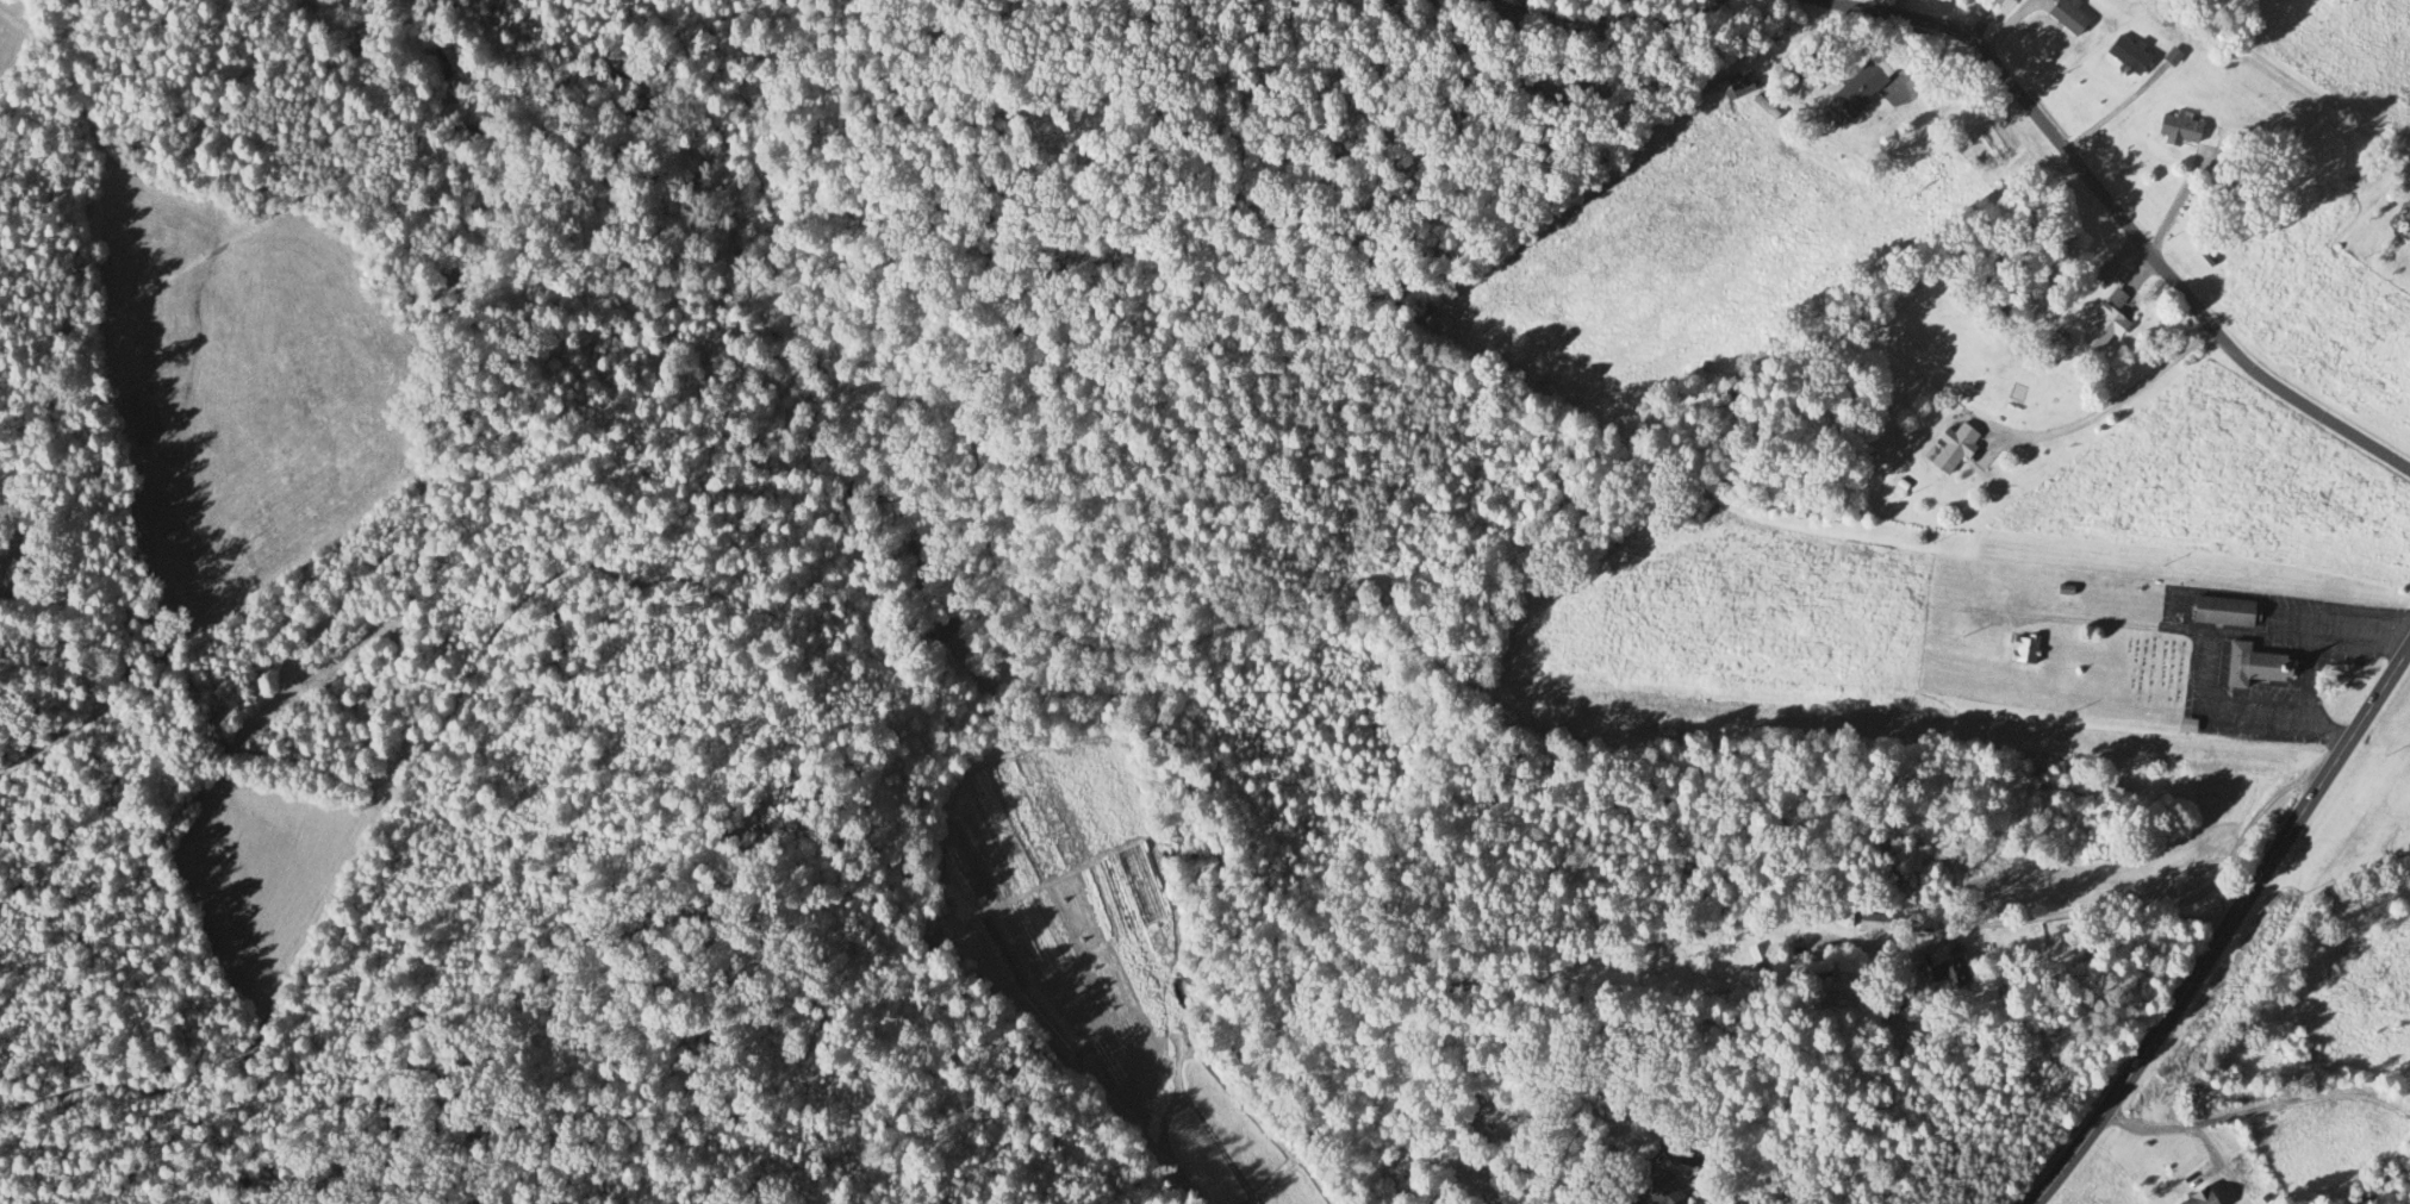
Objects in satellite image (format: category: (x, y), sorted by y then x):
building: (2066, 18)
road: (1617, 19)
building: (2125, 57)
building: (1735, 87)
building: (1857, 89)
building: (2177, 131)
building: (2360, 179)
road: (2181, 198)
road: (2113, 214)
building: (2408, 238)
building: (2101, 275)
building: (2115, 300)
building: (2101, 331)
building: (2050, 354)
road: (2112, 406)
building: (1951, 450)
building: (2222, 612)
building: (2022, 649)
building: (2252, 666)
road: (2150, 907)
building: (1872, 922)
road: (2227, 928)
building: (1756, 960)
building: (1807, 967)
building: (1948, 977)
building: (1480, 1108)
road: (2258, 1110)
road: (2206, 1146)
building: (1654, 1186)
building: (2197, 1198)

